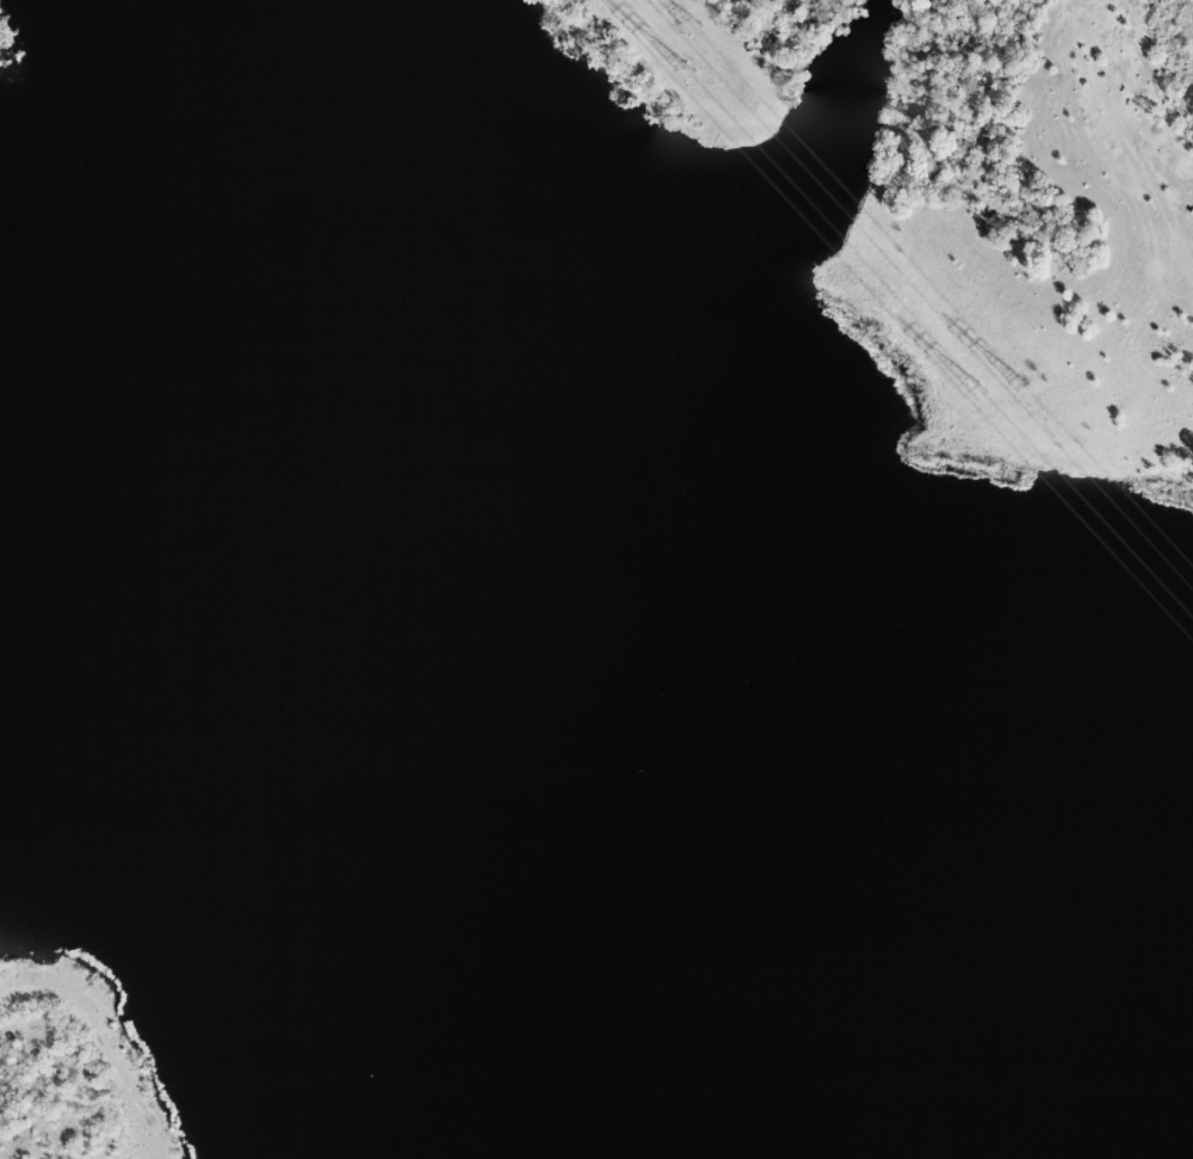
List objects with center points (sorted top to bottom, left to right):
power tower: (696, 30)
power tower: (693, 76)
power tower: (994, 392)
power tower: (1036, 392)

